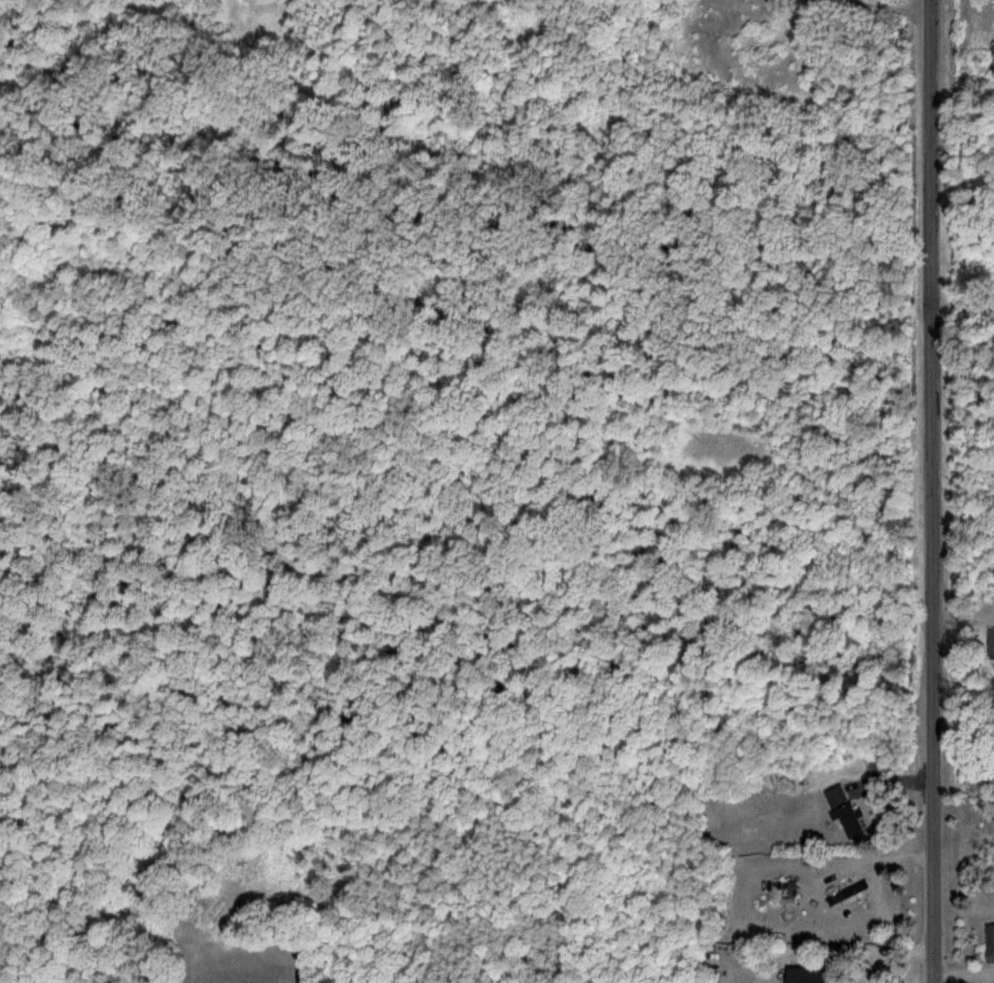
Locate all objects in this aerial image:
road: (887, 9)
road: (935, 491)
building: (993, 645)
building: (848, 813)
building: (992, 944)
building: (819, 976)

